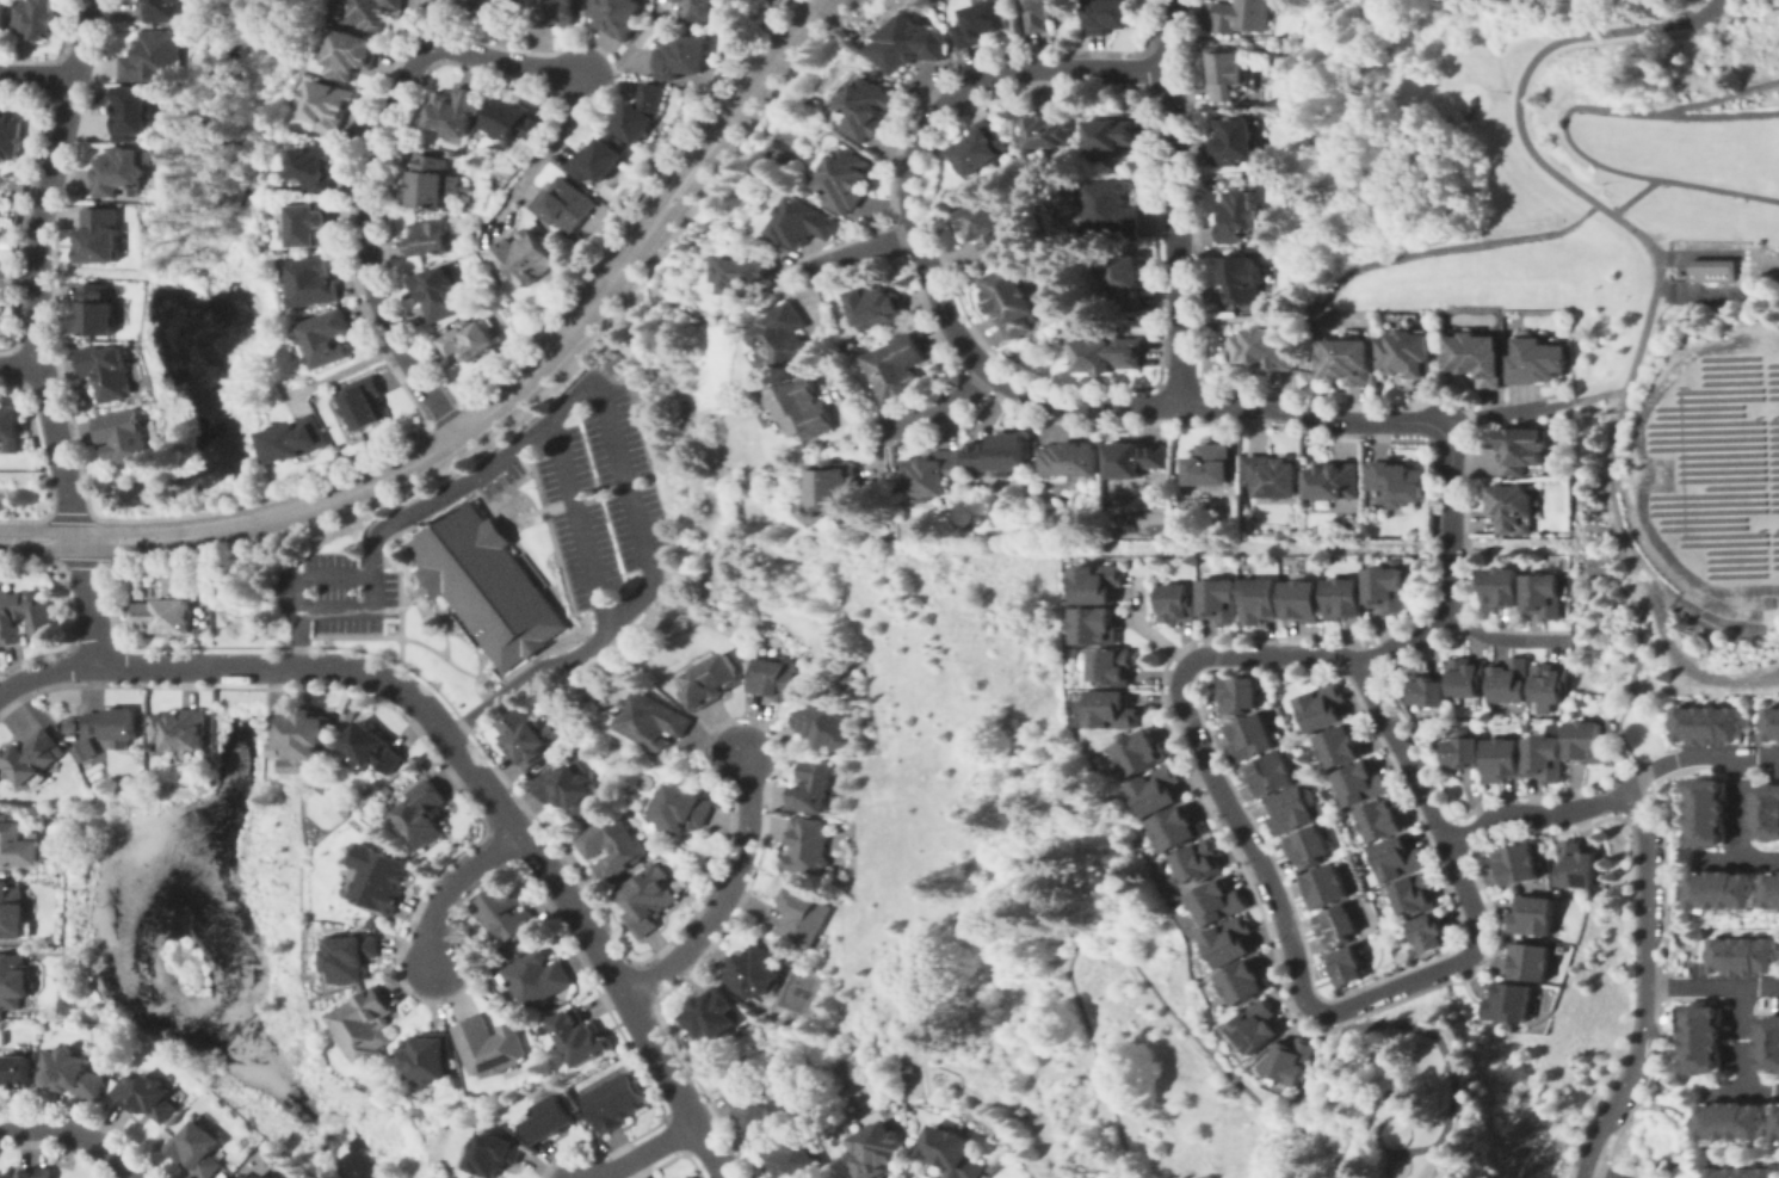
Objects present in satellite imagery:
building: (698, 10)
building: (165, 11)
building: (502, 11)
building: (371, 12)
building: (551, 12)
road: (1684, 12)
building: (1044, 13)
building: (4, 16)
building: (618, 16)
building: (1110, 16)
building: (1242, 16)
building: (37, 18)
building: (983, 23)
building: (909, 45)
building: (350, 54)
building: (681, 56)
building: (155, 57)
road: (504, 62)
building: (1227, 74)
road: (38, 78)
road: (1723, 95)
building: (328, 105)
building: (871, 109)
building: (456, 110)
building: (130, 112)
building: (642, 112)
building: (514, 121)
road: (1565, 129)
building: (1051, 131)
building: (1113, 135)
building: (10, 137)
road: (546, 142)
building: (1234, 142)
park: (787, 147)
building: (983, 147)
building: (597, 160)
building: (315, 167)
building: (121, 169)
building: (427, 180)
building: (848, 180)
road: (1632, 196)
road: (1174, 202)
building: (482, 204)
building: (566, 204)
building: (1110, 209)
building: (1236, 216)
road: (365, 220)
building: (807, 222)
building: (310, 223)
building: (988, 229)
building: (99, 235)
building: (428, 239)
road: (1651, 247)
road: (859, 252)
building: (524, 258)
road: (1383, 259)
building: (1709, 269)
park: (1590, 272)
building: (750, 275)
park: (7, 276)
building: (1124, 278)
building: (1241, 278)
building: (313, 282)
building: (439, 291)
building: (1007, 301)
building: (878, 307)
building: (97, 310)
road: (38, 332)
building: (784, 337)
building: (326, 338)
building: (470, 341)
road: (965, 345)
building: (1267, 349)
building: (1408, 352)
building: (1110, 354)
building: (1477, 358)
solar farm: (1727, 358)
building: (1347, 359)
building: (1537, 360)
building: (617, 362)
solar farm: (1772, 365)
road: (19, 366)
solar farm: (1728, 366)
building: (896, 368)
building: (107, 370)
solar farm: (1772, 372)
solar farm: (1728, 374)
solar farm: (1772, 380)
solar farm: (1729, 383)
solar farm: (1772, 388)
solar farm: (1718, 390)
road: (594, 393)
solar farm: (1773, 396)
solar farm: (1718, 399)
building: (366, 403)
road: (494, 406)
solar farm: (1698, 407)
building: (802, 408)
road: (1531, 408)
road: (934, 411)
solar farm: (1698, 415)
solar farm: (1773, 421)
solar farm: (1700, 423)
building: (10, 424)
solar farm: (1772, 428)
solar farm: (1701, 431)
building: (122, 436)
solar farm: (1773, 437)
building: (295, 439)
solar farm: (1706, 439)
solar farm: (1773, 445)
solar farm: (1701, 446)
building: (1522, 449)
building: (1001, 454)
solar farm: (1773, 454)
solar farm: (1719, 455)
building: (1136, 458)
building: (1073, 460)
solar farm: (1773, 461)
solar farm: (1719, 463)
building: (1212, 465)
building: (1716, 465)
solar farm: (1773, 469)
solar farm: (1719, 471)
building: (932, 473)
building: (1273, 475)
solar farm: (1773, 477)
solar farm: (1721, 479)
building: (1334, 481)
building: (1397, 483)
solar farm: (1773, 485)
solar farm: (1732, 487)
building: (833, 491)
solar farm: (1774, 493)
solar farm: (1703, 495)
solar farm: (1774, 501)
solar farm: (1709, 504)
building: (1513, 508)
solar farm: (1774, 510)
solar farm: (1704, 511)
solar farm: (1699, 519)
parking lot: (577, 520)
building: (1346, 523)
road: (580, 524)
solar farm: (1701, 528)
solar farm: (1774, 534)
solar farm: (1722, 536)
solar farm: (1774, 542)
solar farm: (1722, 543)
solar farm: (1774, 549)
solar farm: (1734, 550)
solar farm: (1774, 557)
solar farm: (1734, 559)
solar farm: (1775, 565)
solar farm: (1734, 567)
road: (1451, 573)
solar farm: (1732, 575)
building: (1100, 582)
building: (487, 584)
building: (1503, 588)
building: (1389, 590)
building: (1545, 596)
building: (1346, 599)
building: (1221, 600)
building: (1261, 600)
building: (1304, 600)
building: (1176, 603)
road: (353, 611)
building: (25, 615)
building: (165, 615)
building: (1098, 625)
road: (1503, 640)
building: (1114, 666)
building: (1468, 676)
building: (777, 679)
building: (1511, 680)
building: (712, 681)
building: (1551, 683)
road: (1631, 686)
building: (1428, 691)
building: (1241, 693)
building: (1324, 707)
building: (1114, 710)
building: (655, 720)
building: (827, 724)
building: (1710, 724)
building: (1772, 724)
building: (107, 726)
building: (180, 729)
building: (526, 738)
building: (1252, 738)
building: (301, 739)
building: (1586, 741)
building: (1342, 745)
building: (150, 747)
building: (372, 747)
building: (84, 751)
building: (1463, 752)
road: (462, 753)
building: (1143, 753)
road: (1760, 755)
building: (30, 758)
building: (1503, 759)
building: (1545, 759)
road: (1679, 759)
building: (1272, 775)
building: (1363, 783)
building: (814, 785)
building: (569, 790)
building: (1160, 791)
building: (685, 809)
building: (1293, 810)
building: (1767, 813)
building: (424, 814)
building: (1706, 814)
road: (1534, 816)
building: (1384, 819)
road: (1741, 826)
building: (1180, 827)
building: (17, 843)
building: (808, 844)
building: (612, 846)
building: (1310, 846)
building: (1400, 858)
road: (1716, 859)
building: (1202, 863)
building: (1518, 863)
building: (1577, 865)
building: (379, 877)
road: (456, 887)
building: (1327, 887)
building: (1724, 890)
building: (1774, 890)
road: (728, 894)
building: (1416, 895)
building: (647, 899)
building: (1219, 902)
building: (12, 911)
building: (504, 914)
building: (803, 917)
building: (1533, 918)
building: (1339, 925)
building: (1432, 933)
building: (1233, 942)
building: (351, 956)
building: (1744, 957)
building: (1533, 962)
building: (1349, 966)
building: (754, 970)
road: (1446, 970)
building: (537, 979)
building: (14, 981)
building: (1247, 982)
road: (1759, 983)
road: (1693, 985)
road: (1648, 988)
building: (1514, 1003)
building: (712, 1013)
building: (365, 1024)
building: (1260, 1028)
building: (124, 1035)
building: (579, 1037)
building: (1701, 1038)
building: (1769, 1044)
building: (489, 1046)
road: (1095, 1054)
road: (1738, 1054)
building: (428, 1056)
building: (1297, 1060)
building: (908, 1067)
road: (1474, 1068)
building: (17, 1072)
road: (1230, 1073)
building: (73, 1074)
building: (891, 1078)
building: (458, 1080)
road: (1721, 1087)
building: (147, 1097)
building: (617, 1102)
building: (759, 1106)
building: (549, 1118)
building: (1734, 1122)
road: (1408, 1123)
building: (1777, 1125)
road: (78, 1133)
park: (1658, 1140)
building: (198, 1149)
building: (878, 1149)
road: (648, 1151)
building: (951, 1152)
building: (494, 1154)
building: (791, 1159)
building: (36, 1172)
building: (1740, 1173)
road: (1595, 1174)
building: (6, 1177)
building: (246, 1177)
building: (260, 1177)
building: (268, 1177)
building: (685, 1177)

